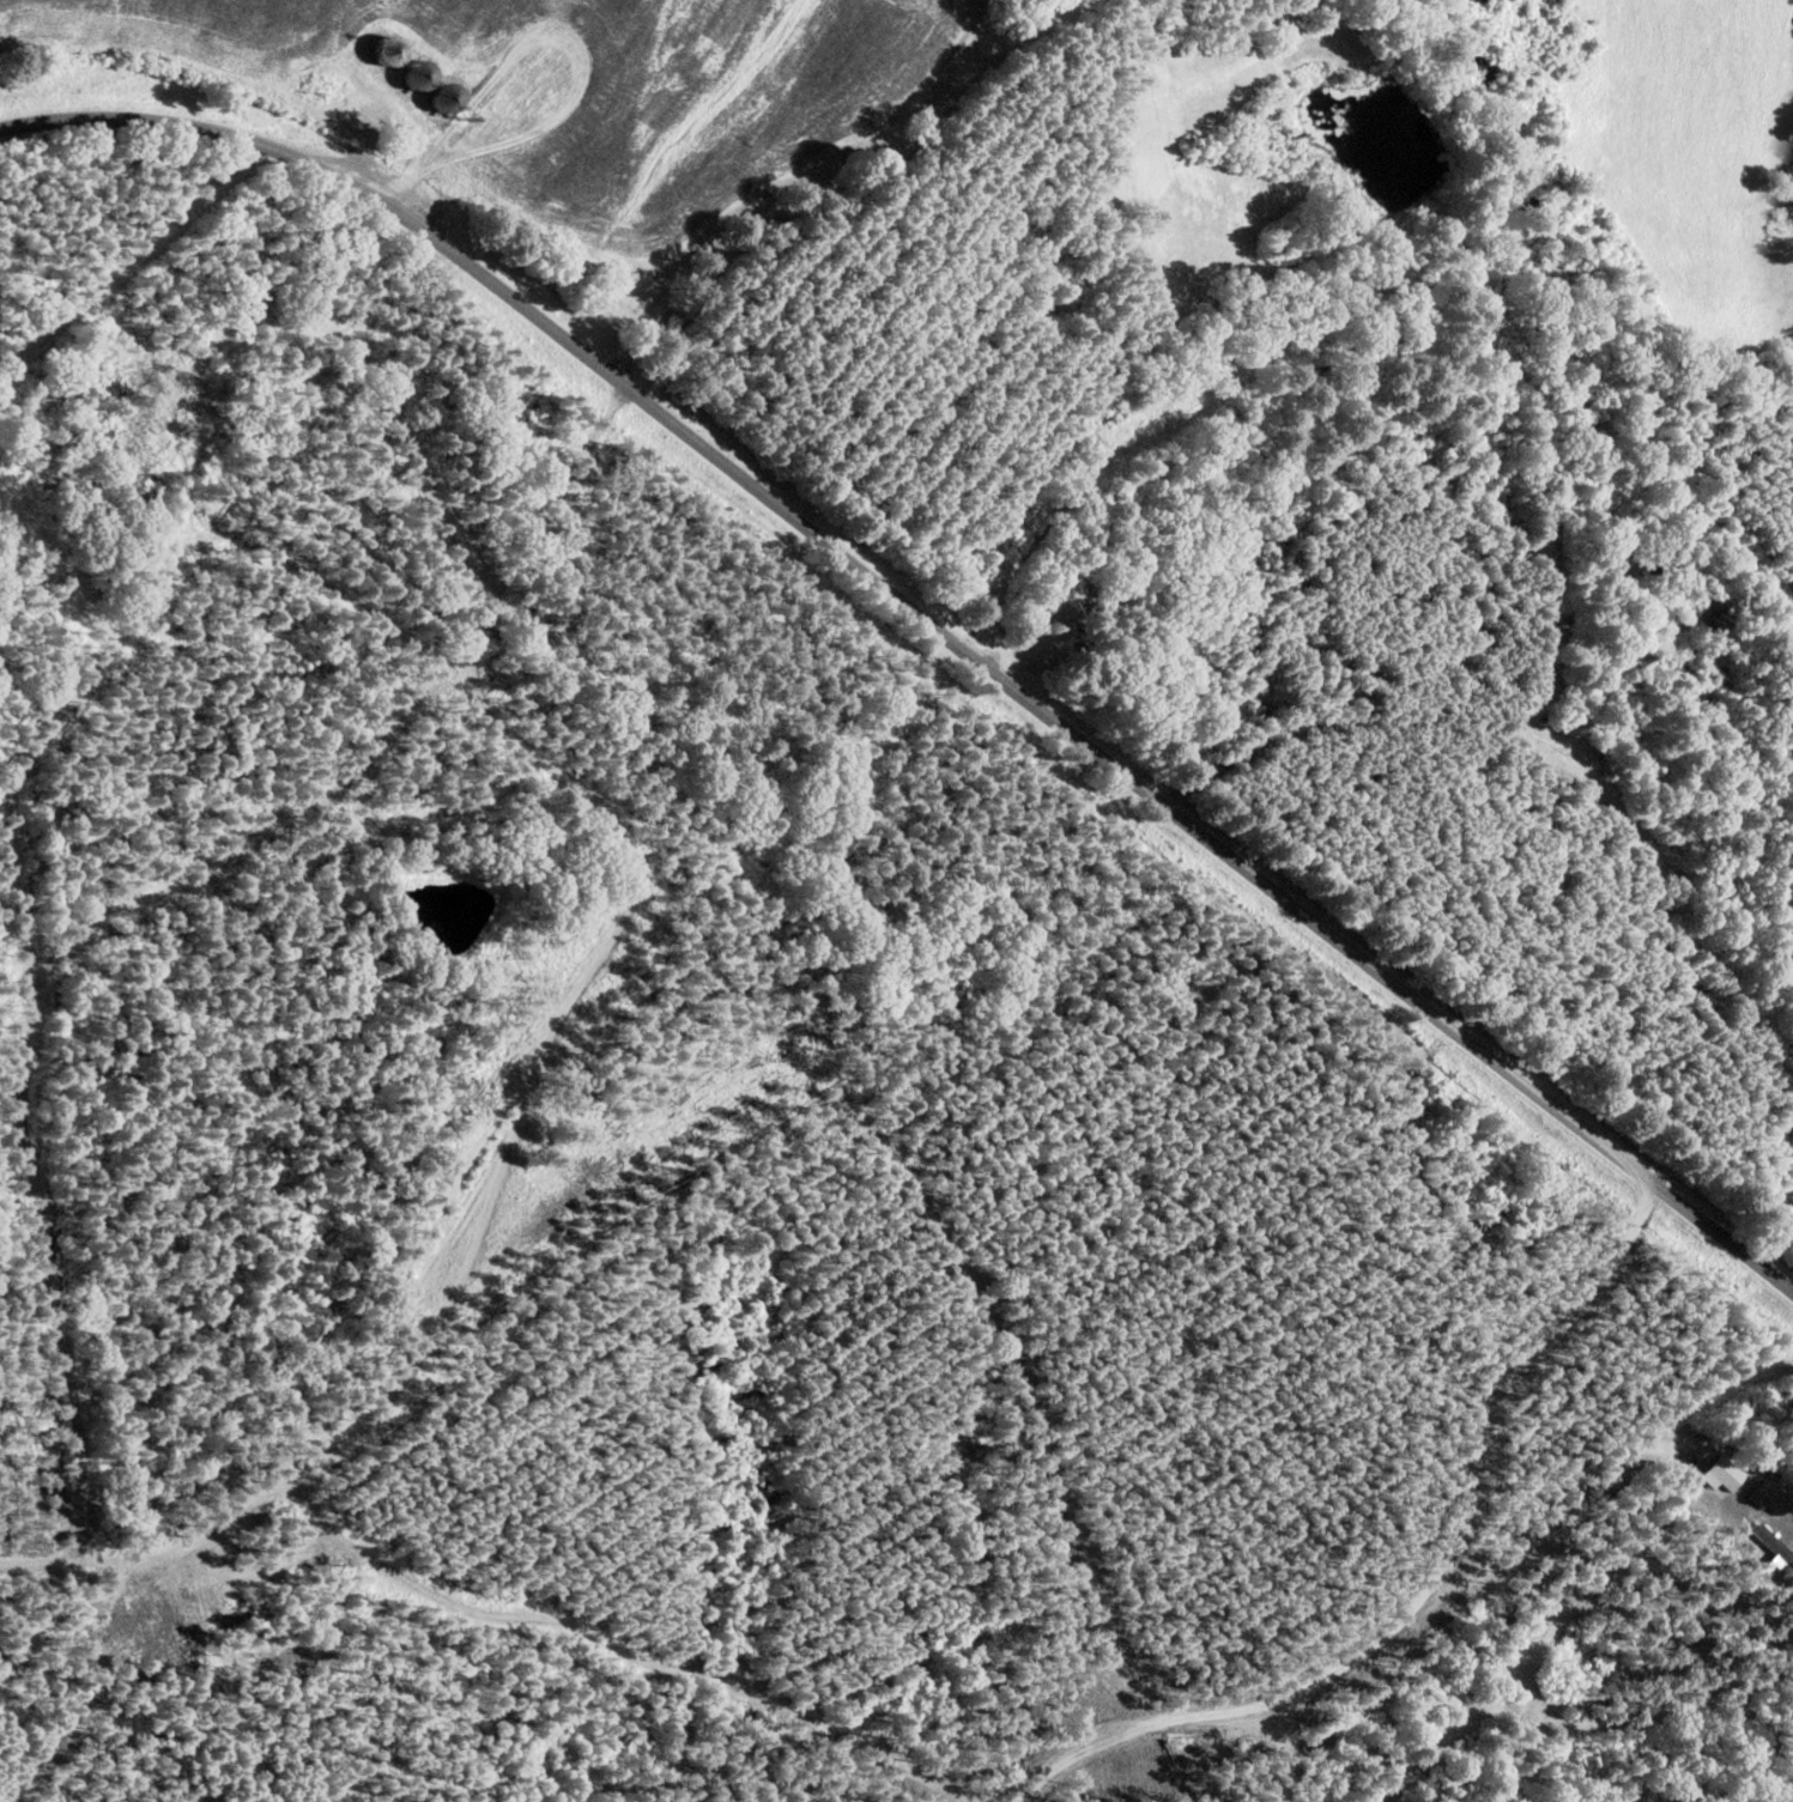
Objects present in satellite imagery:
road: (931, 627)
building: (1768, 1548)

